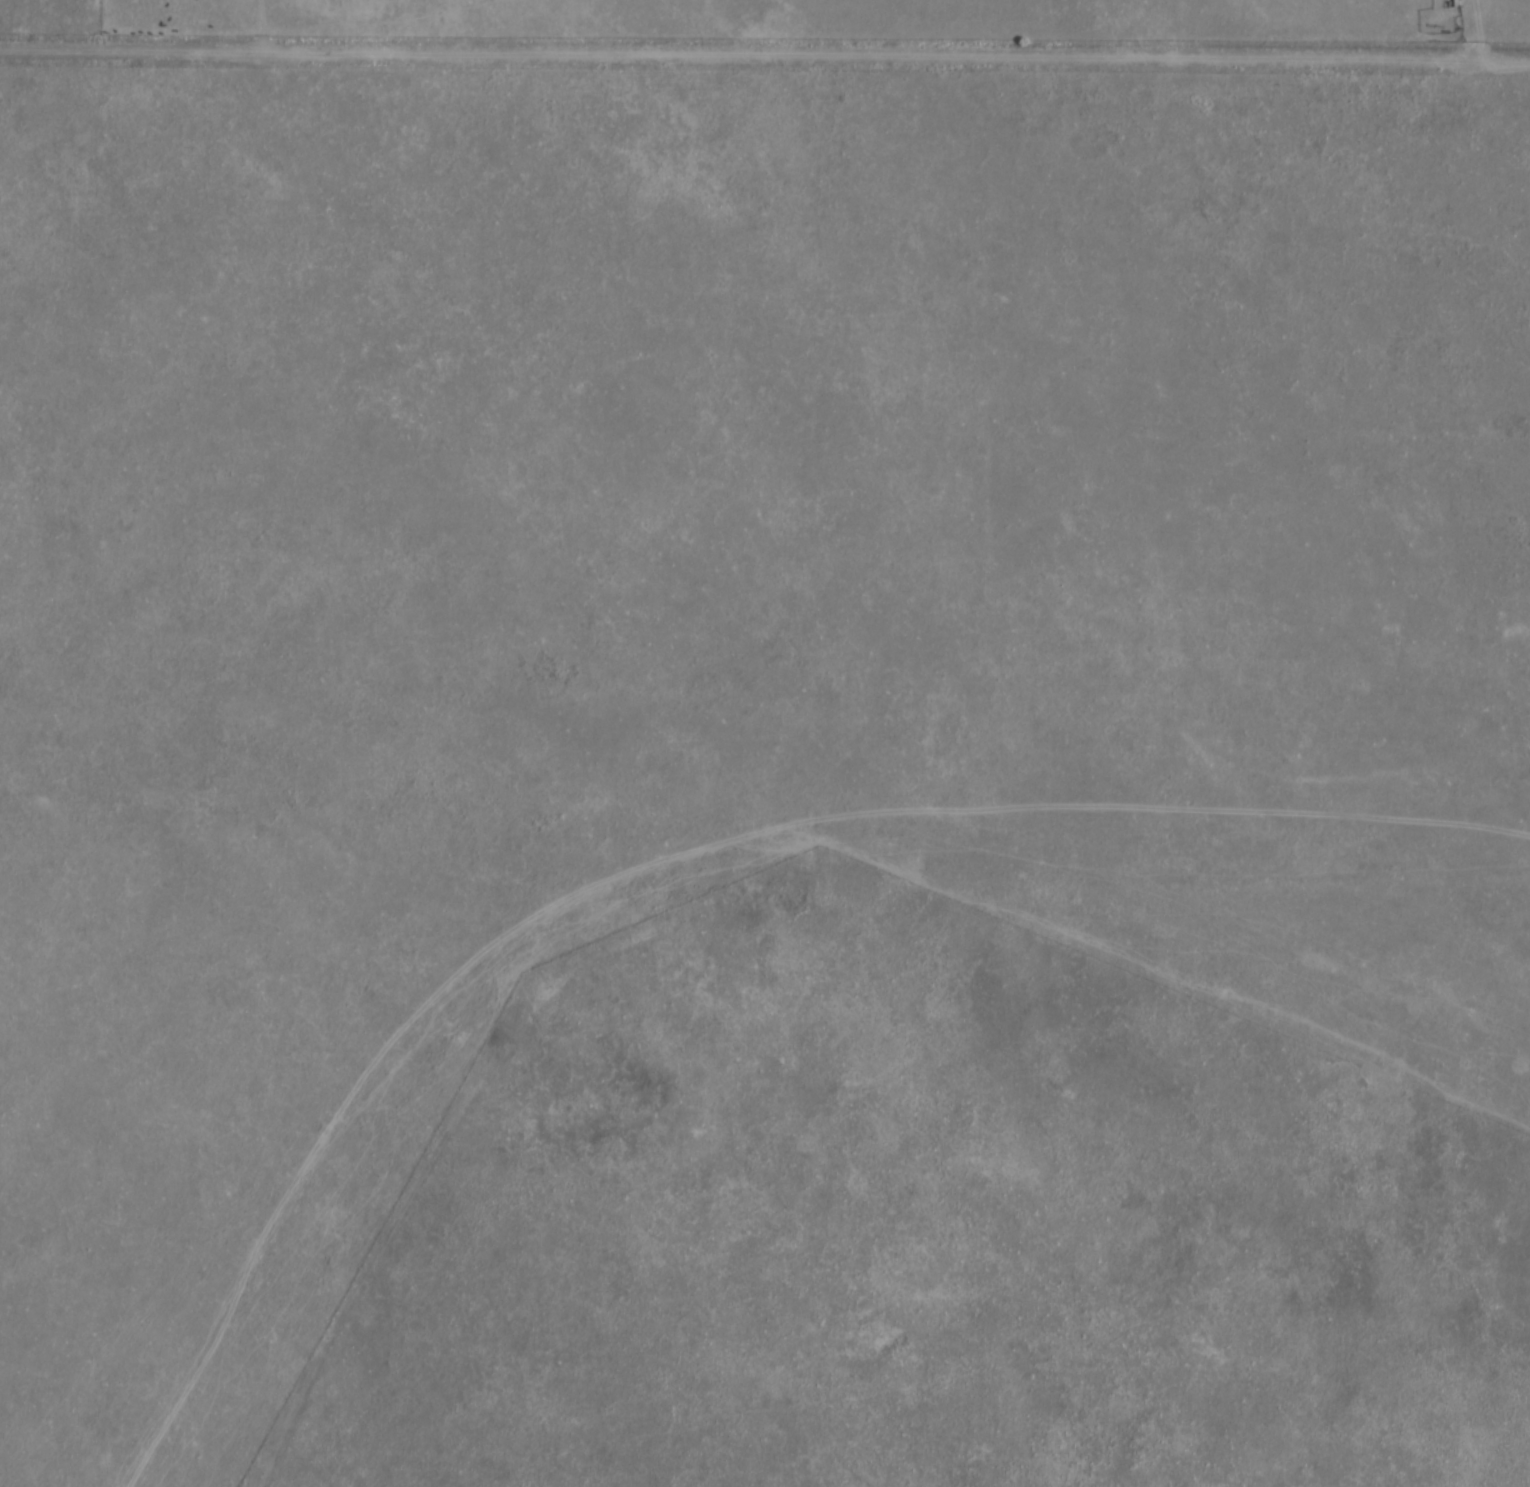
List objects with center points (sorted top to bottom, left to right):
road: (765, 52)

